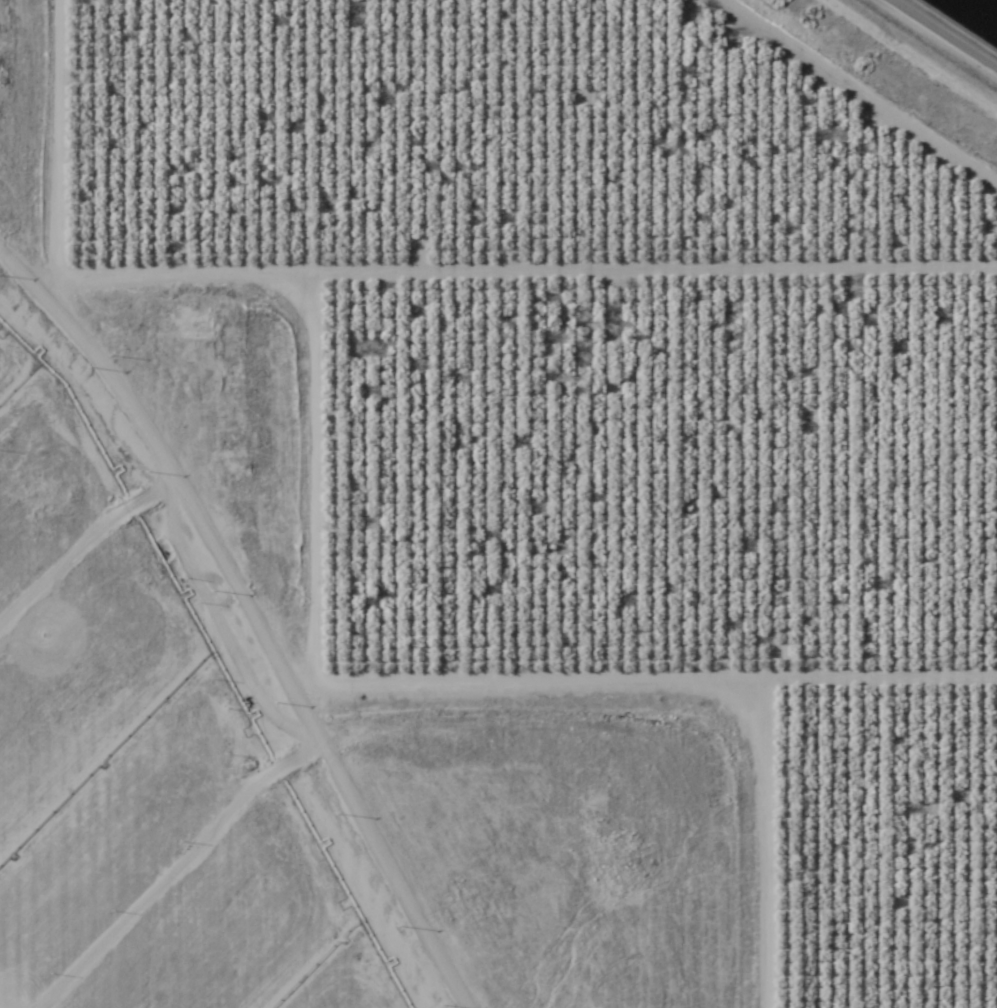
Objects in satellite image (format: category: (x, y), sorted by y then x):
road: (941, 36)

